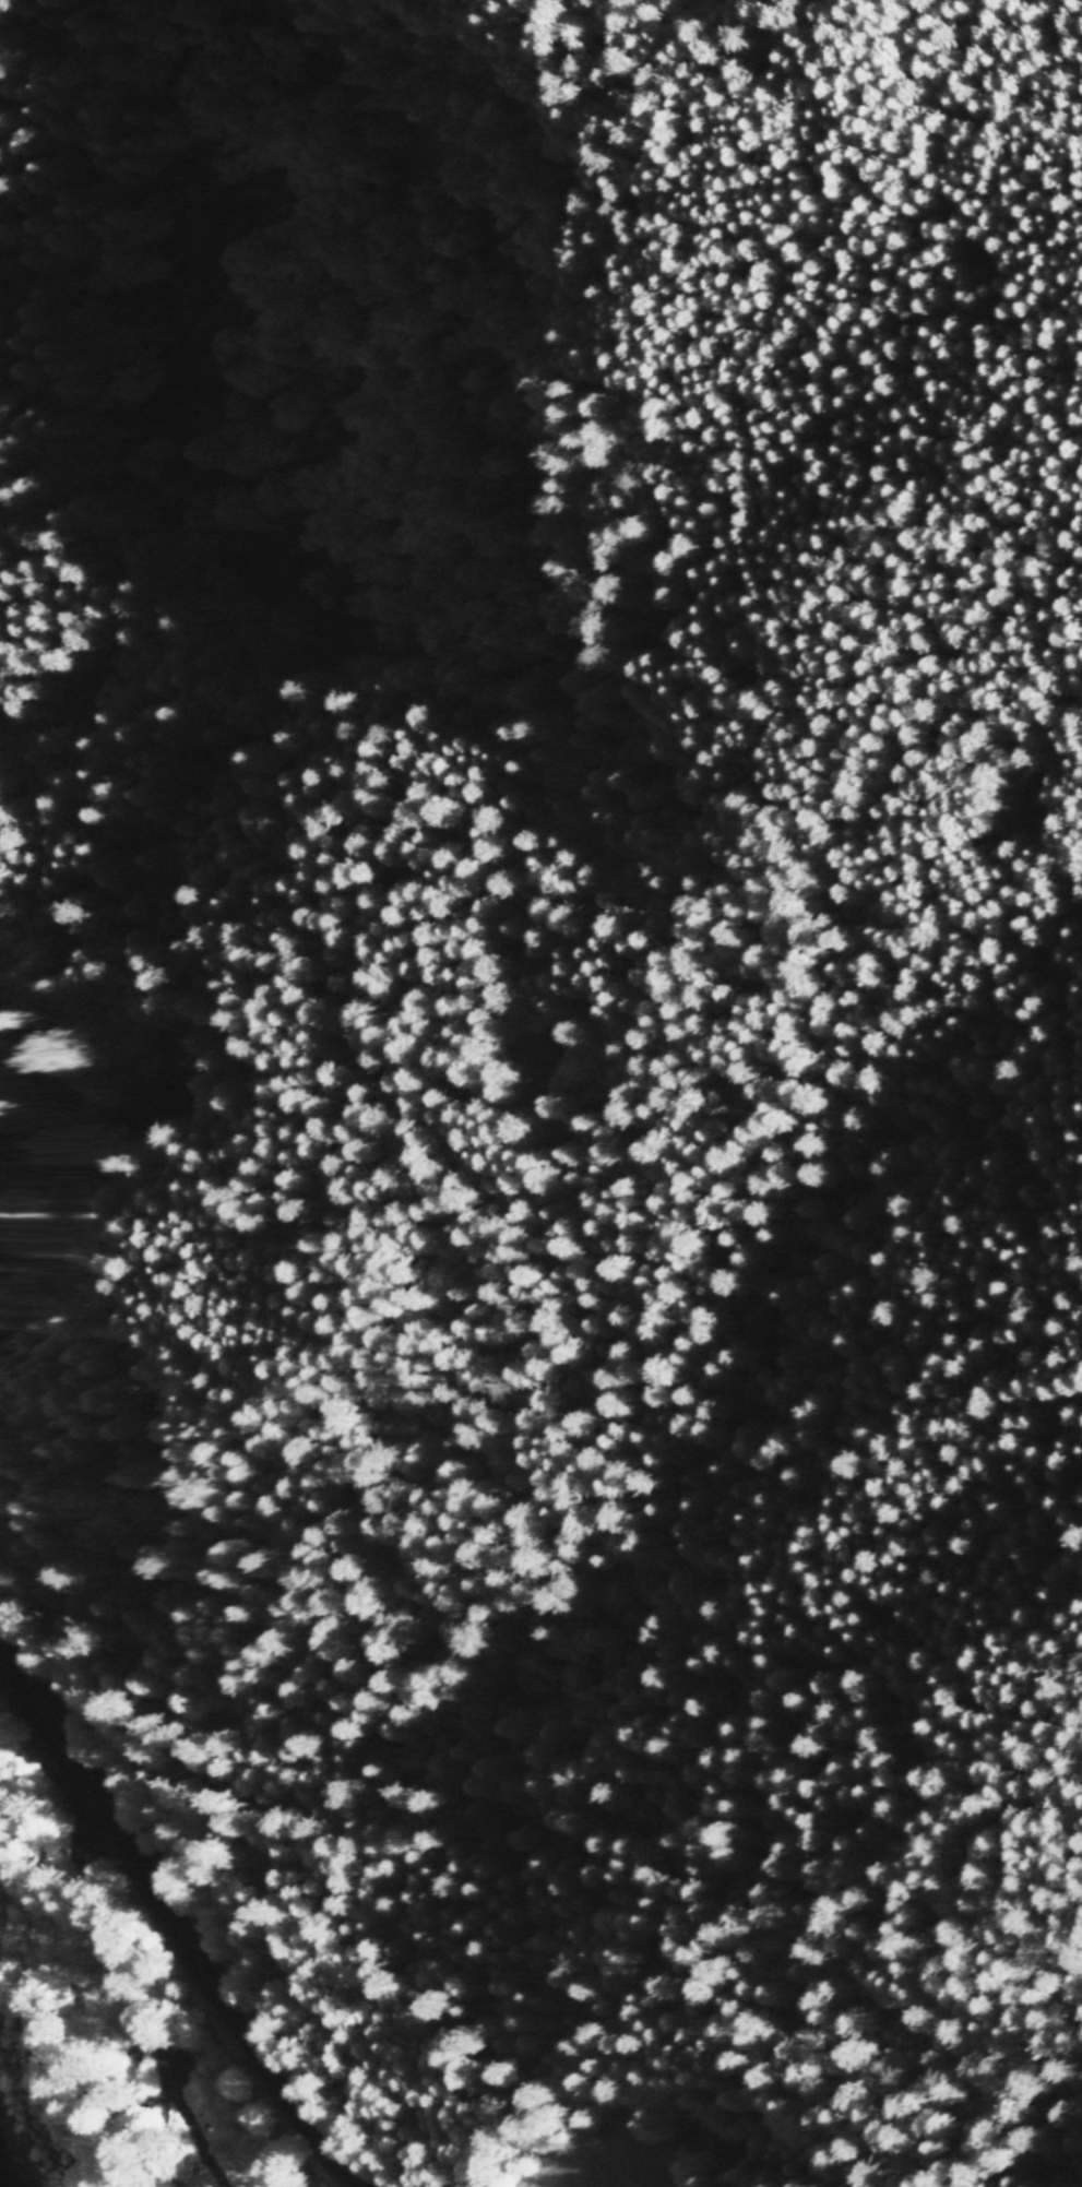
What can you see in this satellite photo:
road: (170, 1926)
road: (131, 1997)

